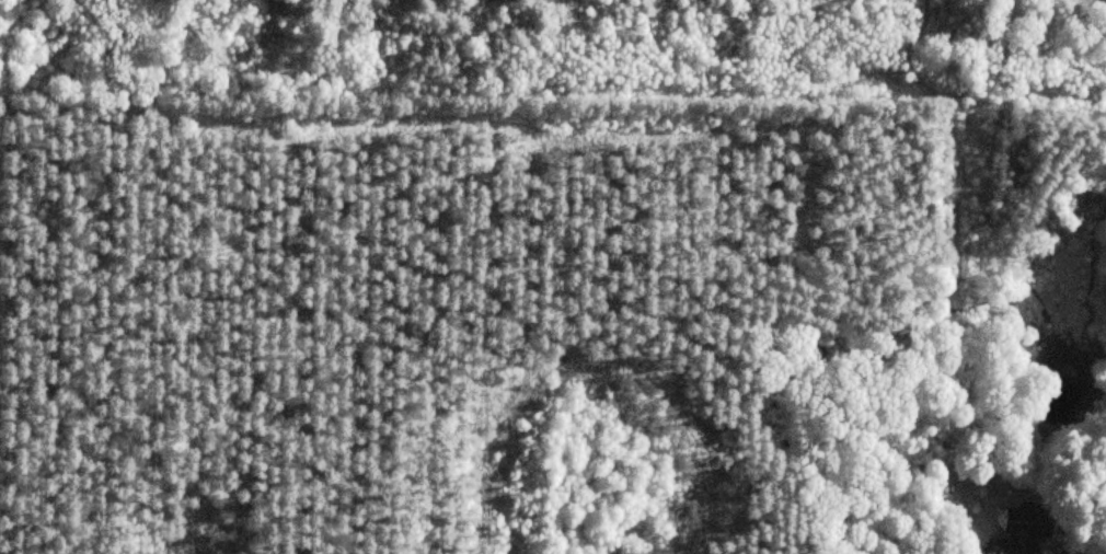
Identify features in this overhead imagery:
building: (1017, 530)

